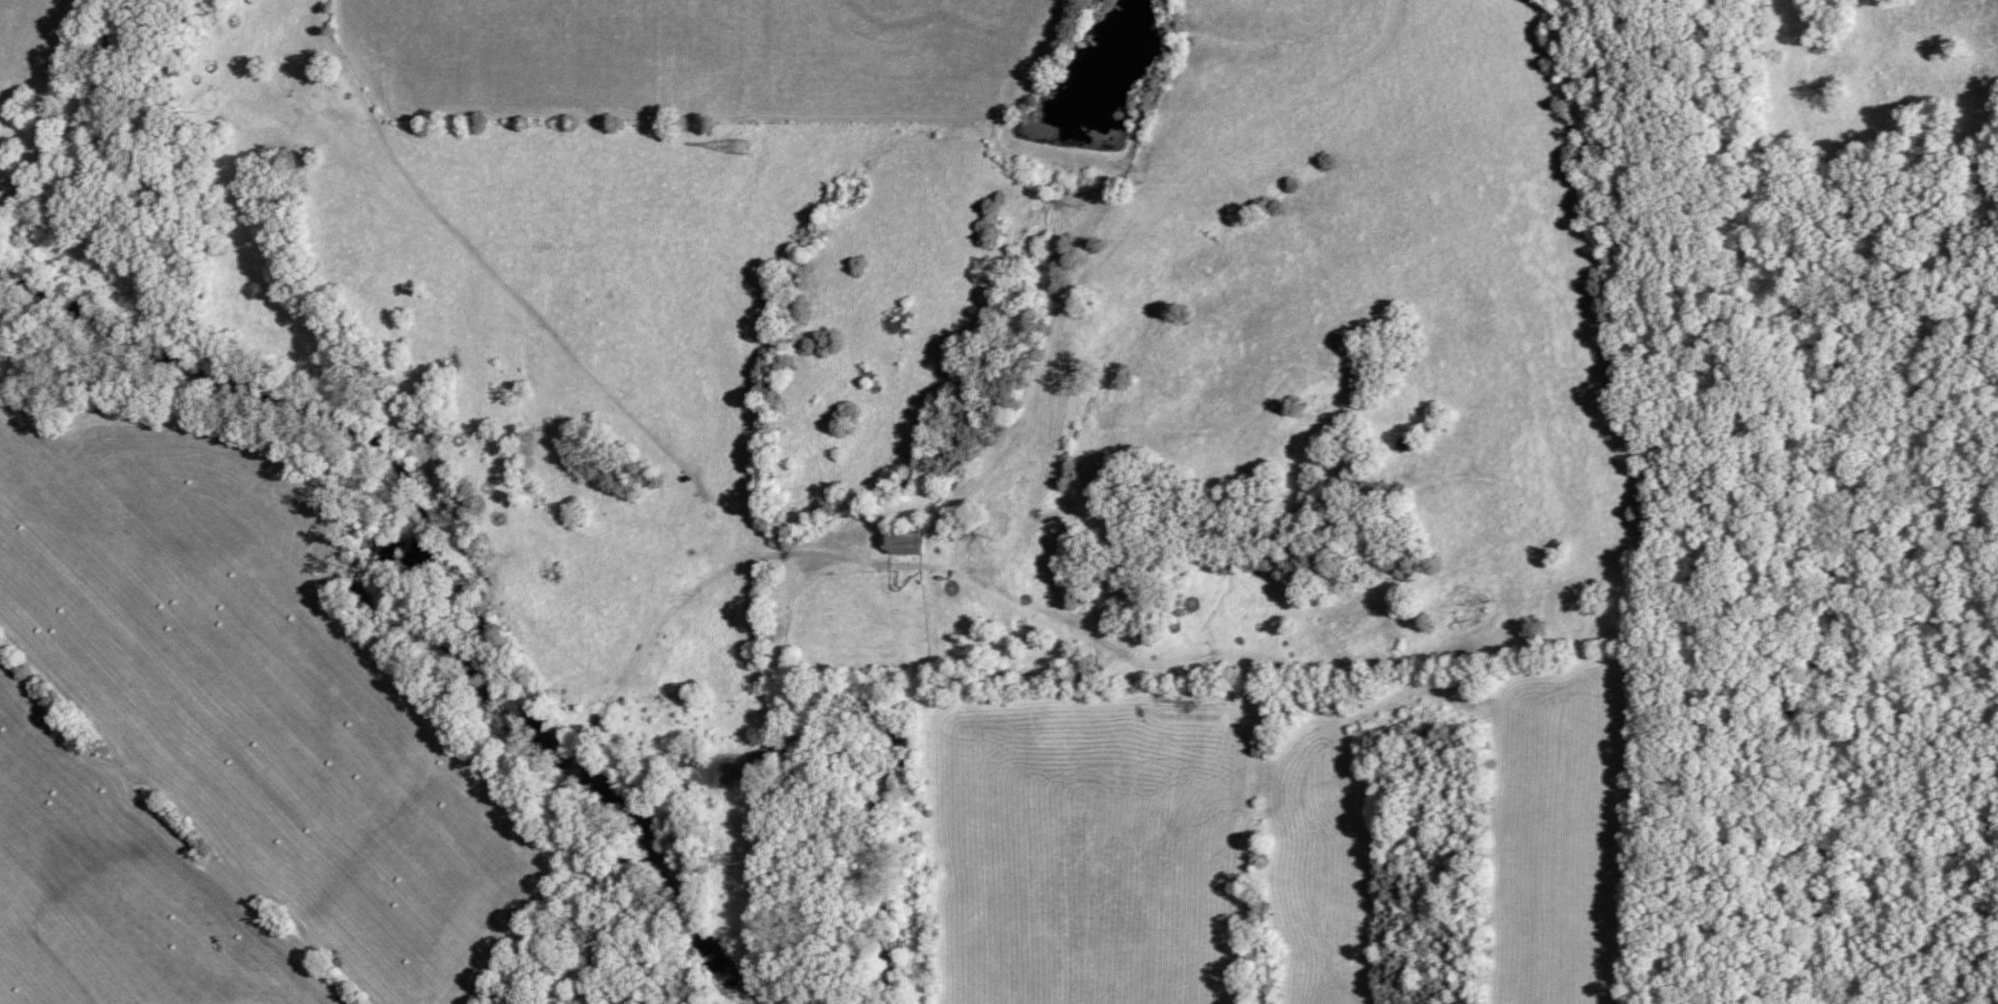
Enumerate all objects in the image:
power tower: (741, 146)
building: (909, 541)
power tower: (730, 862)

